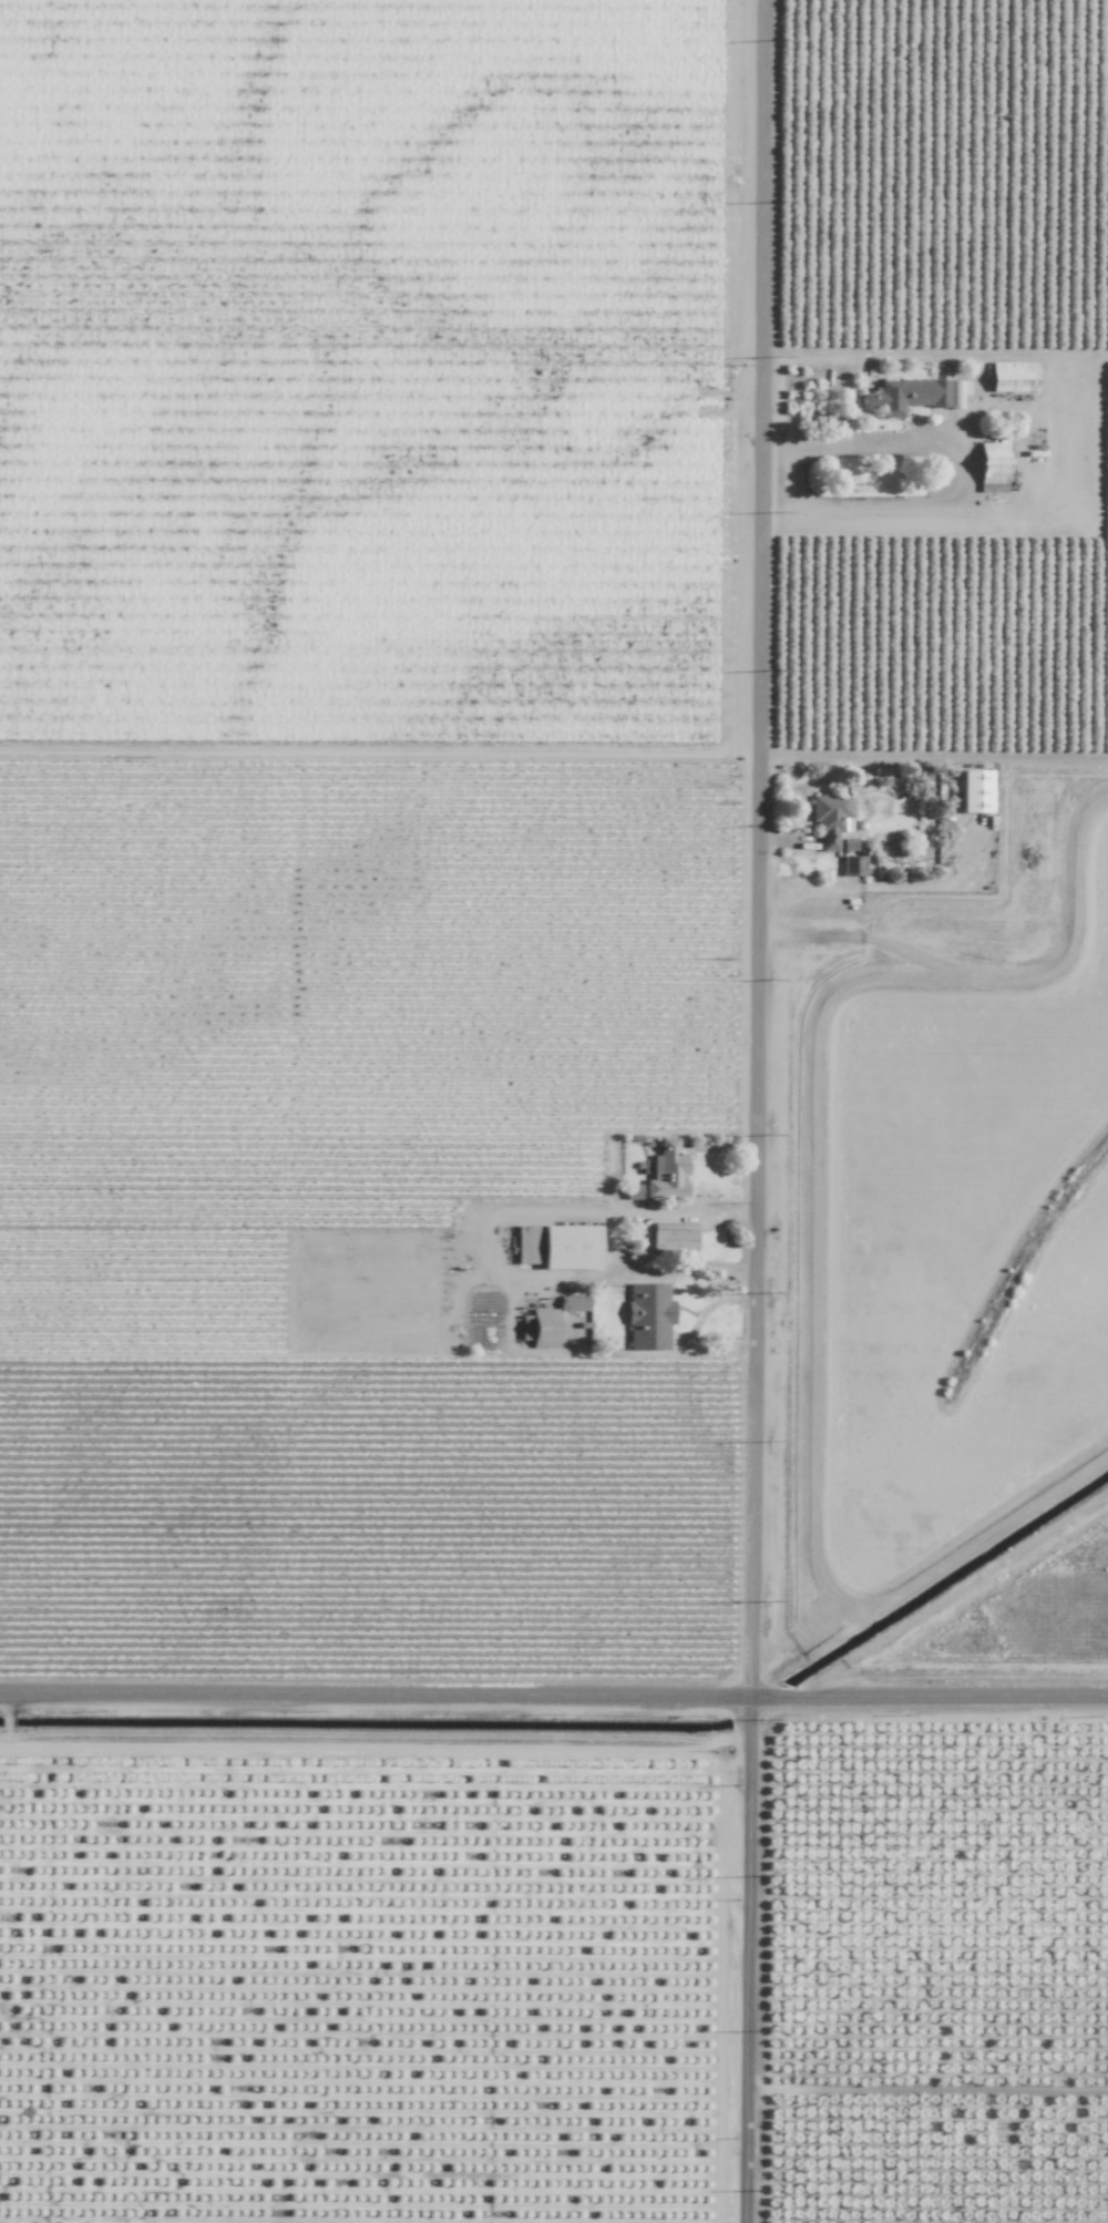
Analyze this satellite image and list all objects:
building: (1012, 377)
building: (905, 396)
building: (991, 467)
road: (947, 474)
road: (379, 752)
building: (973, 791)
building: (828, 818)
building: (852, 865)
road: (755, 1110)
building: (666, 1172)
building: (630, 1191)
building: (673, 1236)
road: (604, 1241)
building: (526, 1244)
building: (570, 1247)
building: (572, 1302)
building: (647, 1317)
building: (543, 1328)
road: (554, 1693)
road: (929, 2088)

